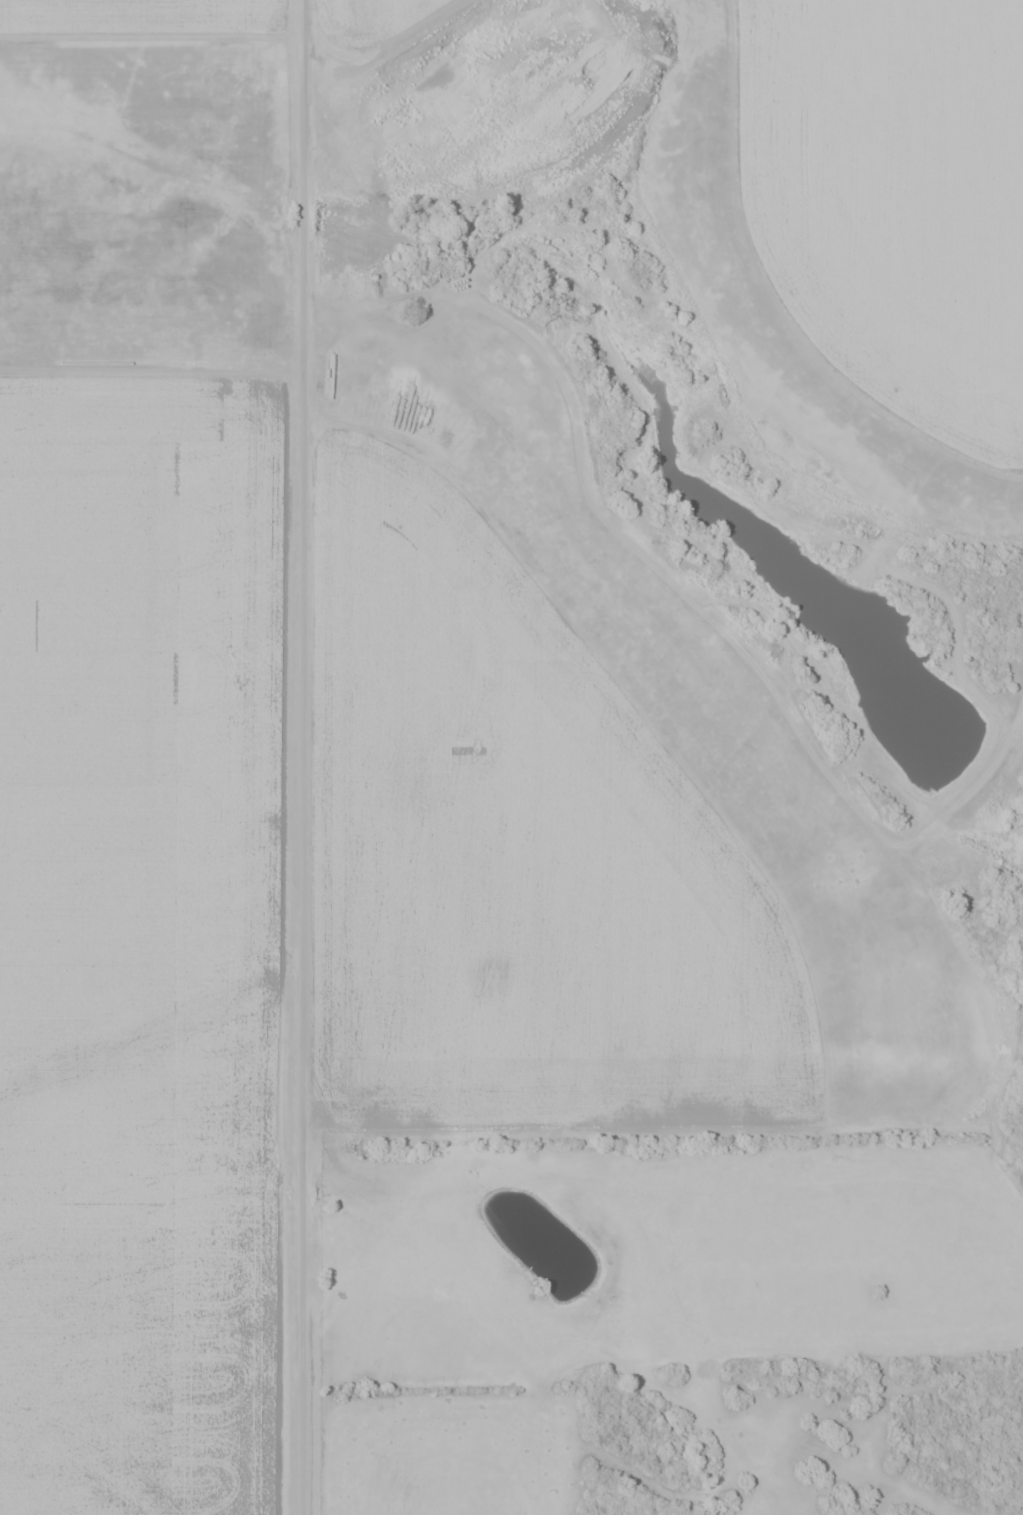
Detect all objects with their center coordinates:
road: (302, 757)

